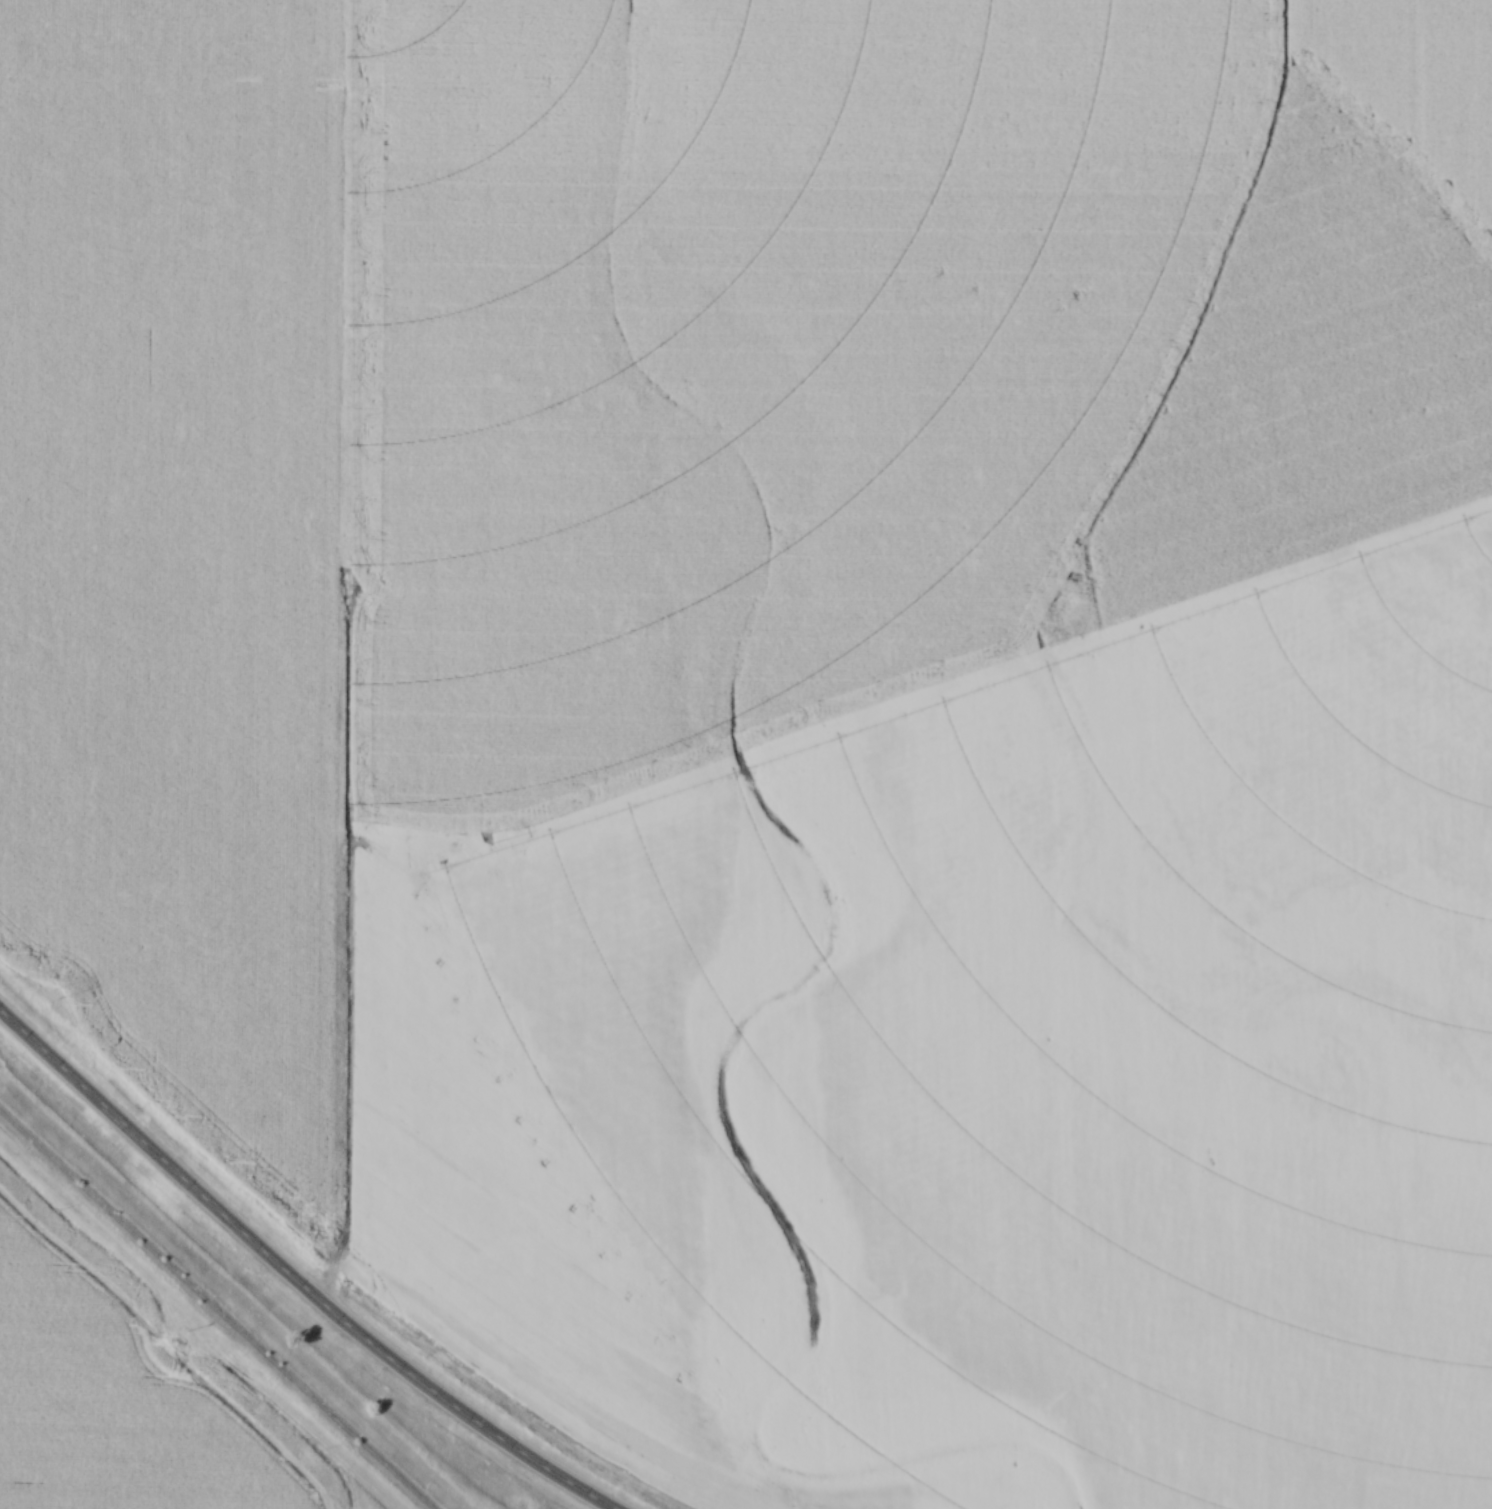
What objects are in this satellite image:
power tower: (1034, 644)
power tower: (489, 841)
power tower: (57, 995)
road: (287, 1281)
railway: (211, 1315)

